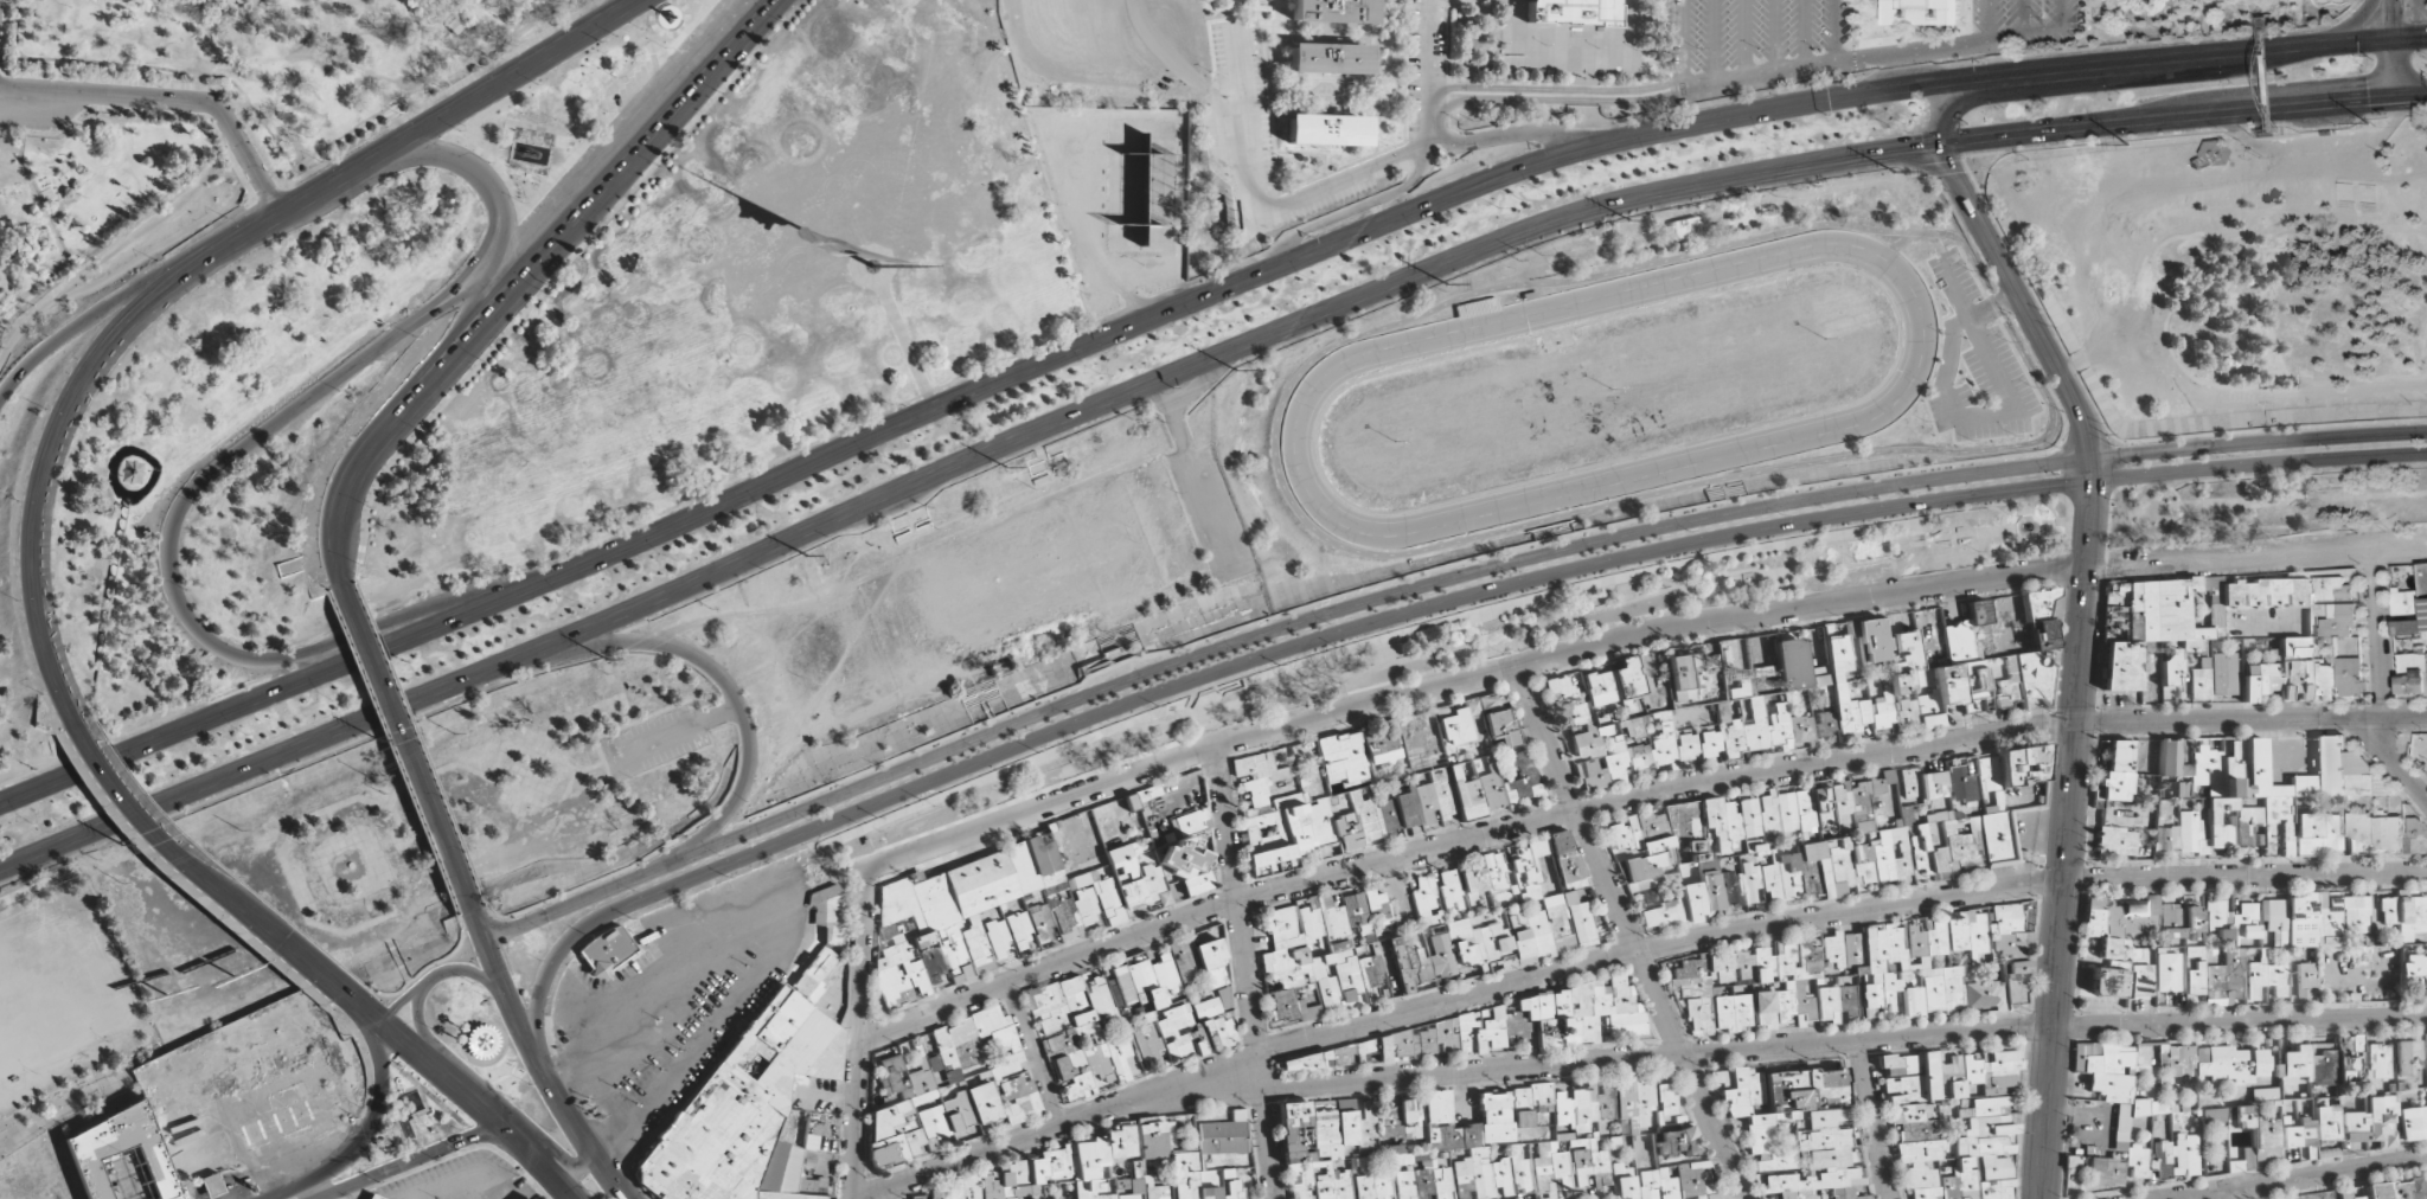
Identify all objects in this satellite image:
parking lot: (2017, 14)
parking lot: (1749, 33)
traffic signals: (2387, 39)
road: (2387, 50)
parking lot: (1420, 56)
traffic signals: (2009, 77)
parking lot: (1242, 92)
traffic signals: (2388, 101)
traffic signals: (1939, 143)
park: (1134, 190)
park: (2233, 272)
park: (453, 297)
road: (1183, 306)
parking lot: (1975, 360)
road: (1183, 370)
parking lot: (1215, 509)
park: (1007, 579)
park: (1485, 646)
park: (475, 809)
parking lot: (672, 990)
park: (491, 1047)
road: (414, 1160)

